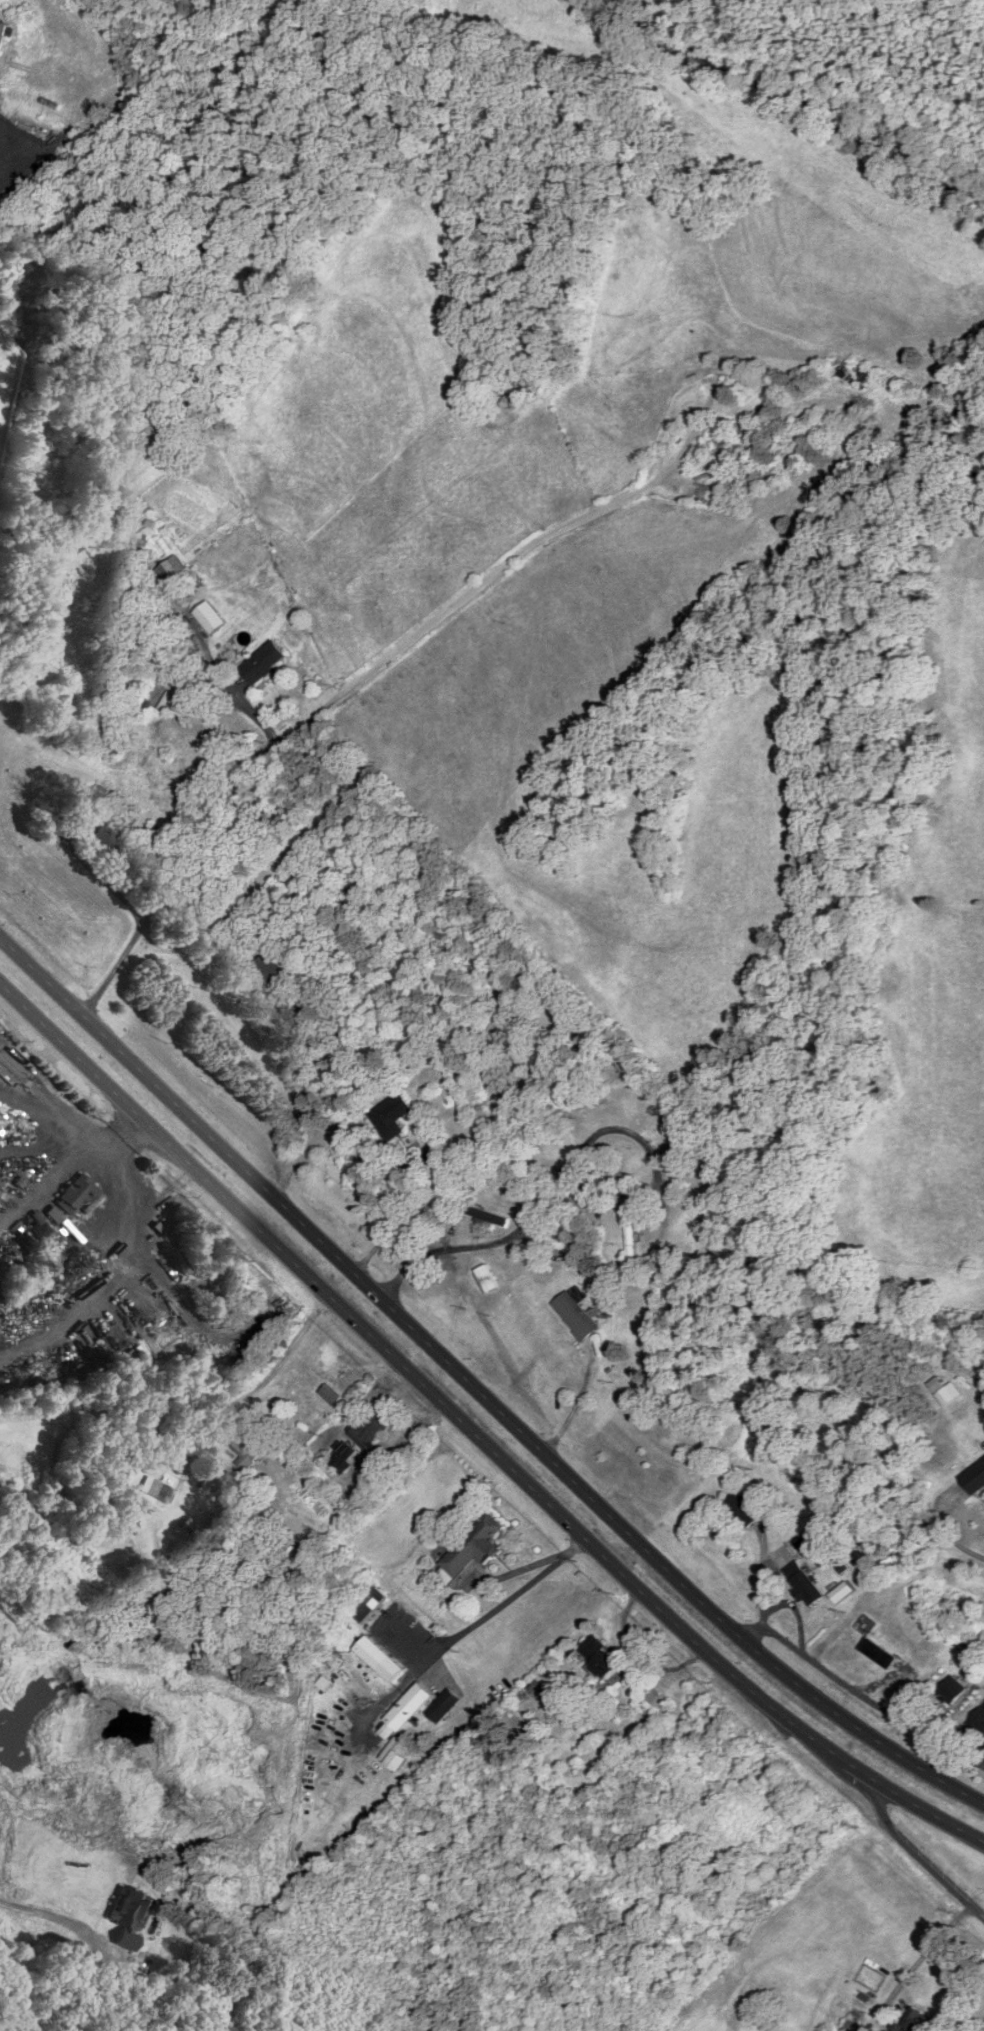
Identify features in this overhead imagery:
building: (4, 34)
building: (857, 374)
building: (723, 440)
building: (170, 571)
building: (212, 618)
building: (265, 663)
building: (169, 692)
road: (229, 693)
road: (294, 730)
building: (99, 797)
building: (104, 839)
building: (267, 966)
building: (651, 1098)
building: (392, 1115)
building: (684, 1160)
building: (612, 1175)
building: (76, 1194)
road: (541, 1200)
building: (53, 1213)
building: (485, 1215)
road: (393, 1220)
building: (41, 1230)
building: (631, 1244)
building: (558, 1245)
building: (487, 1279)
building: (576, 1316)
road: (286, 1354)
road: (339, 1358)
road: (476, 1389)
building: (330, 1395)
road: (575, 1406)
building: (369, 1431)
road: (474, 1434)
building: (241, 1442)
building: (344, 1458)
building: (667, 1477)
building: (974, 1479)
building: (160, 1491)
building: (743, 1509)
road: (957, 1545)
building: (473, 1548)
road: (521, 1569)
building: (803, 1584)
building: (371, 1605)
road: (480, 1620)
building: (599, 1658)
building: (379, 1660)
building: (953, 1690)
road: (861, 1695)
building: (657, 1700)
building: (443, 1706)
building: (405, 1712)
building: (978, 1723)
road: (919, 1855)
road: (920, 1955)
building: (926, 2024)

